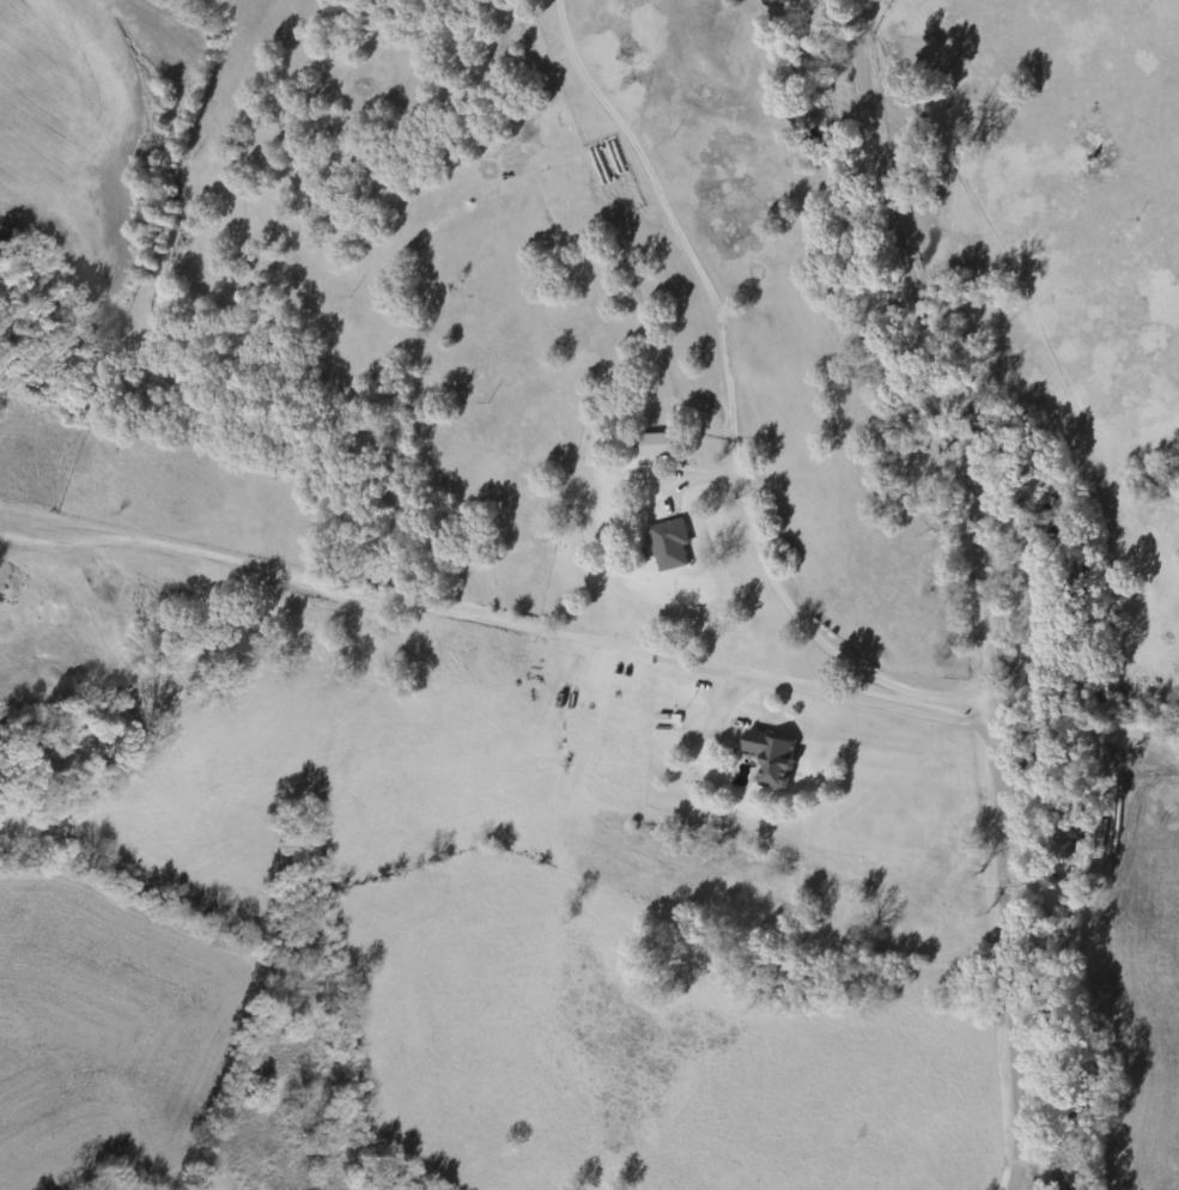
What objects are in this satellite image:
building: (656, 444)
building: (671, 545)
road: (978, 587)
road: (862, 700)
building: (774, 758)

